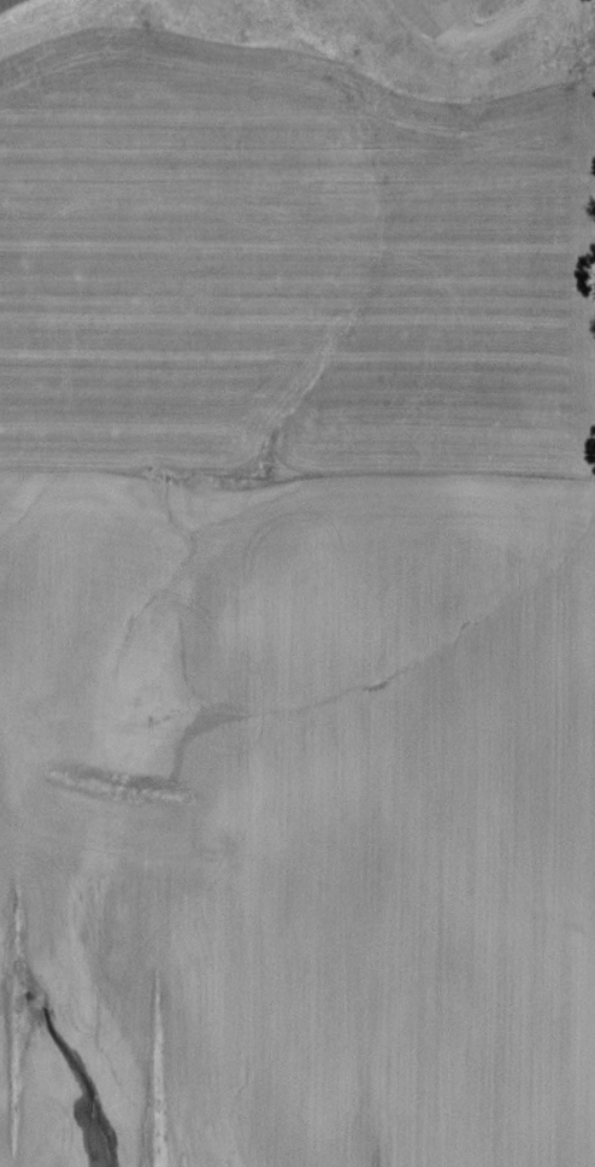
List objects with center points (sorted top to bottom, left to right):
parking lot: (8, 5)

